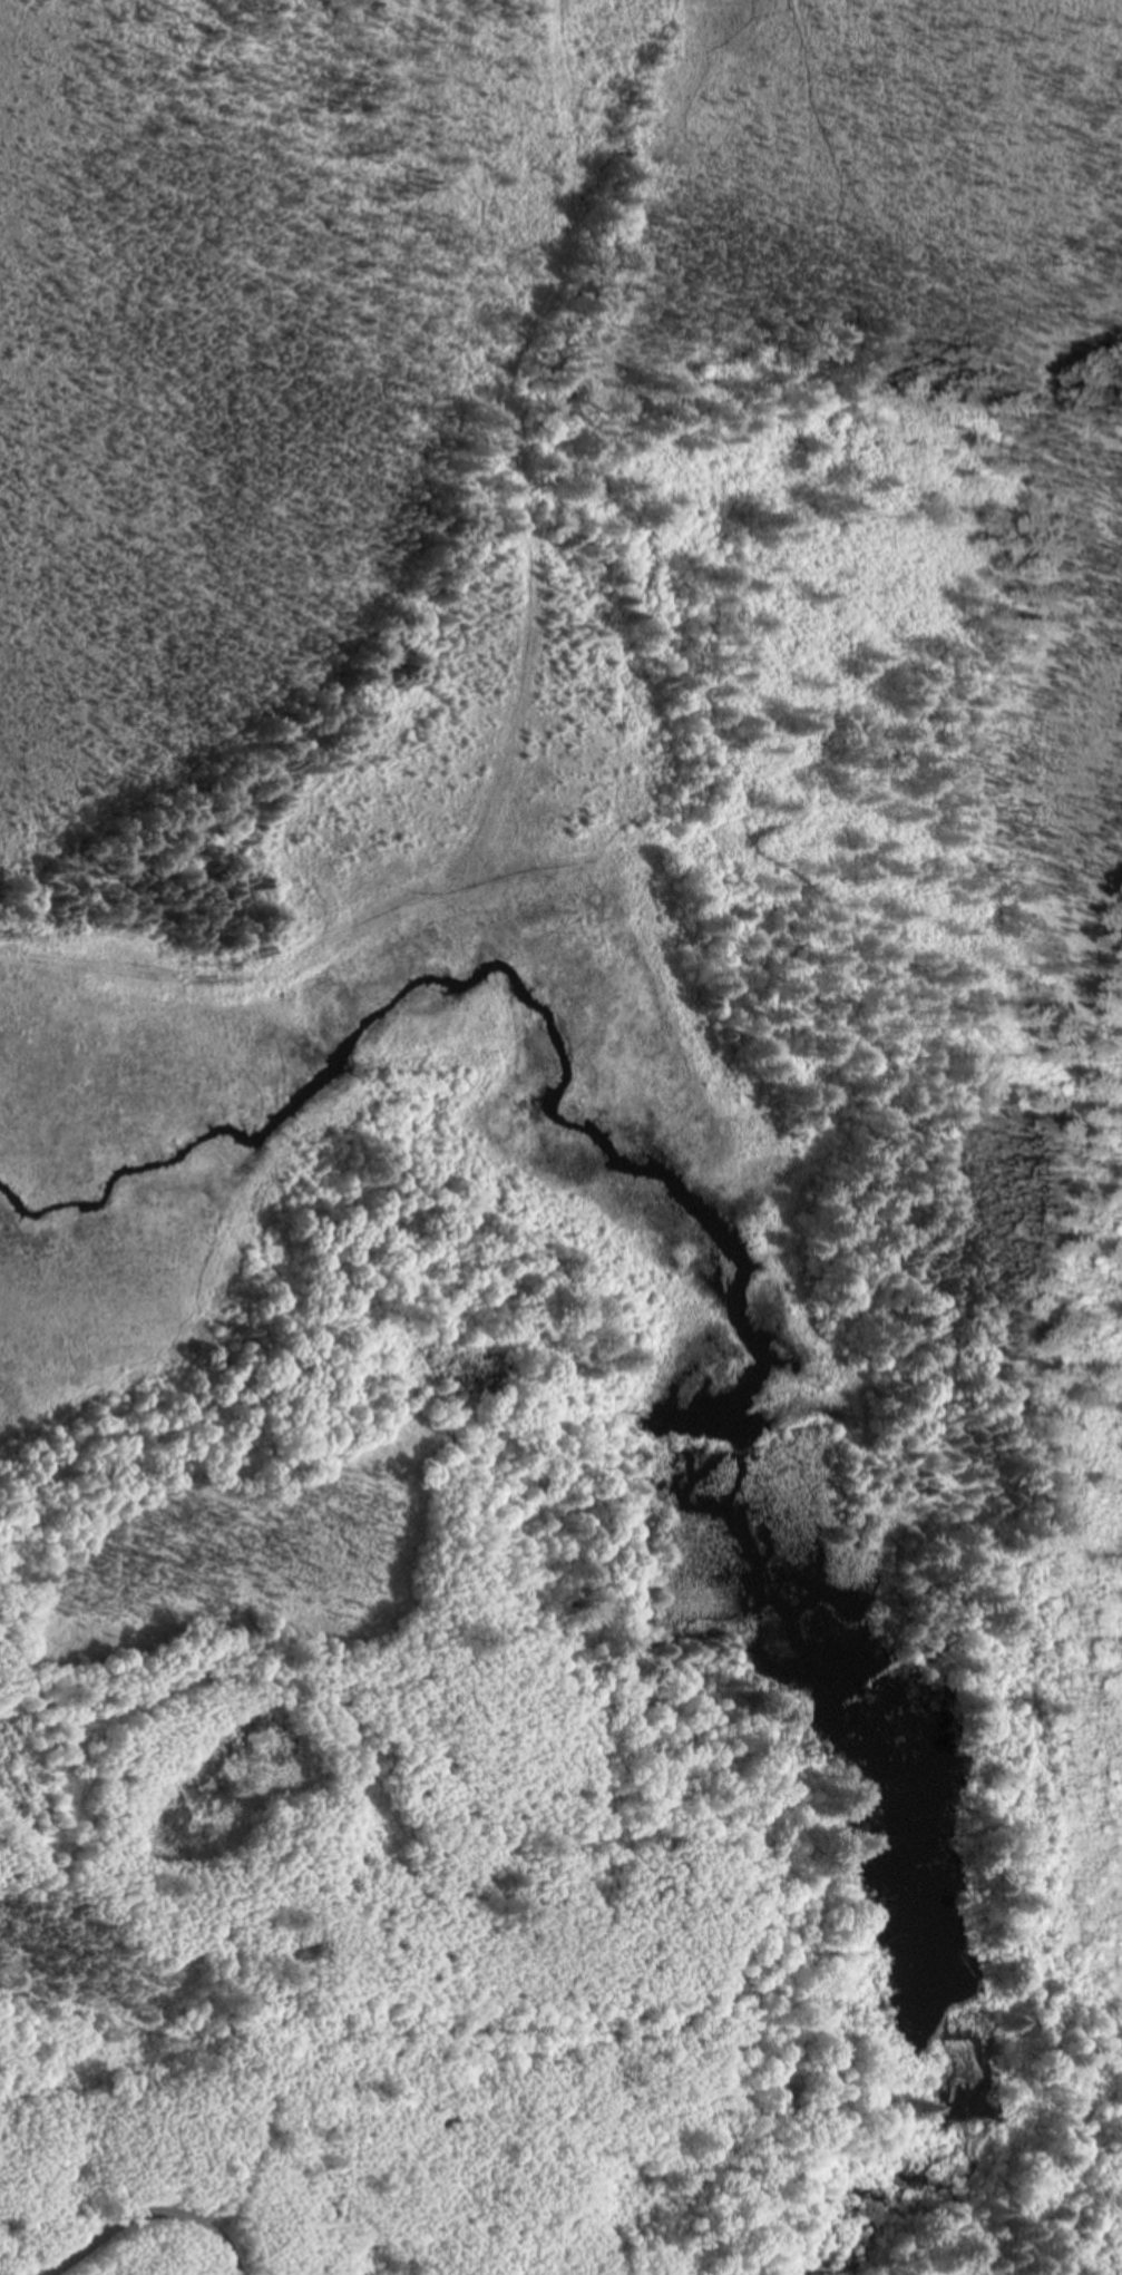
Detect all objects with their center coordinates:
road: (137, 2233)

